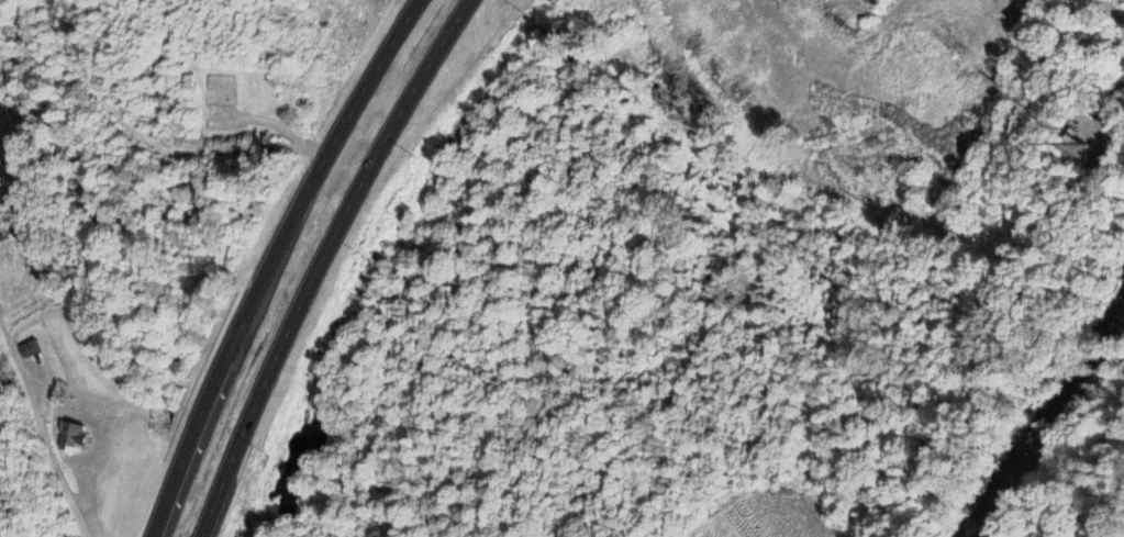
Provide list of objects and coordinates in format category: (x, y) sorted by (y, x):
road: (315, 260)
road: (270, 261)
road: (31, 413)
river: (1045, 421)
building: (71, 437)
river: (973, 529)

